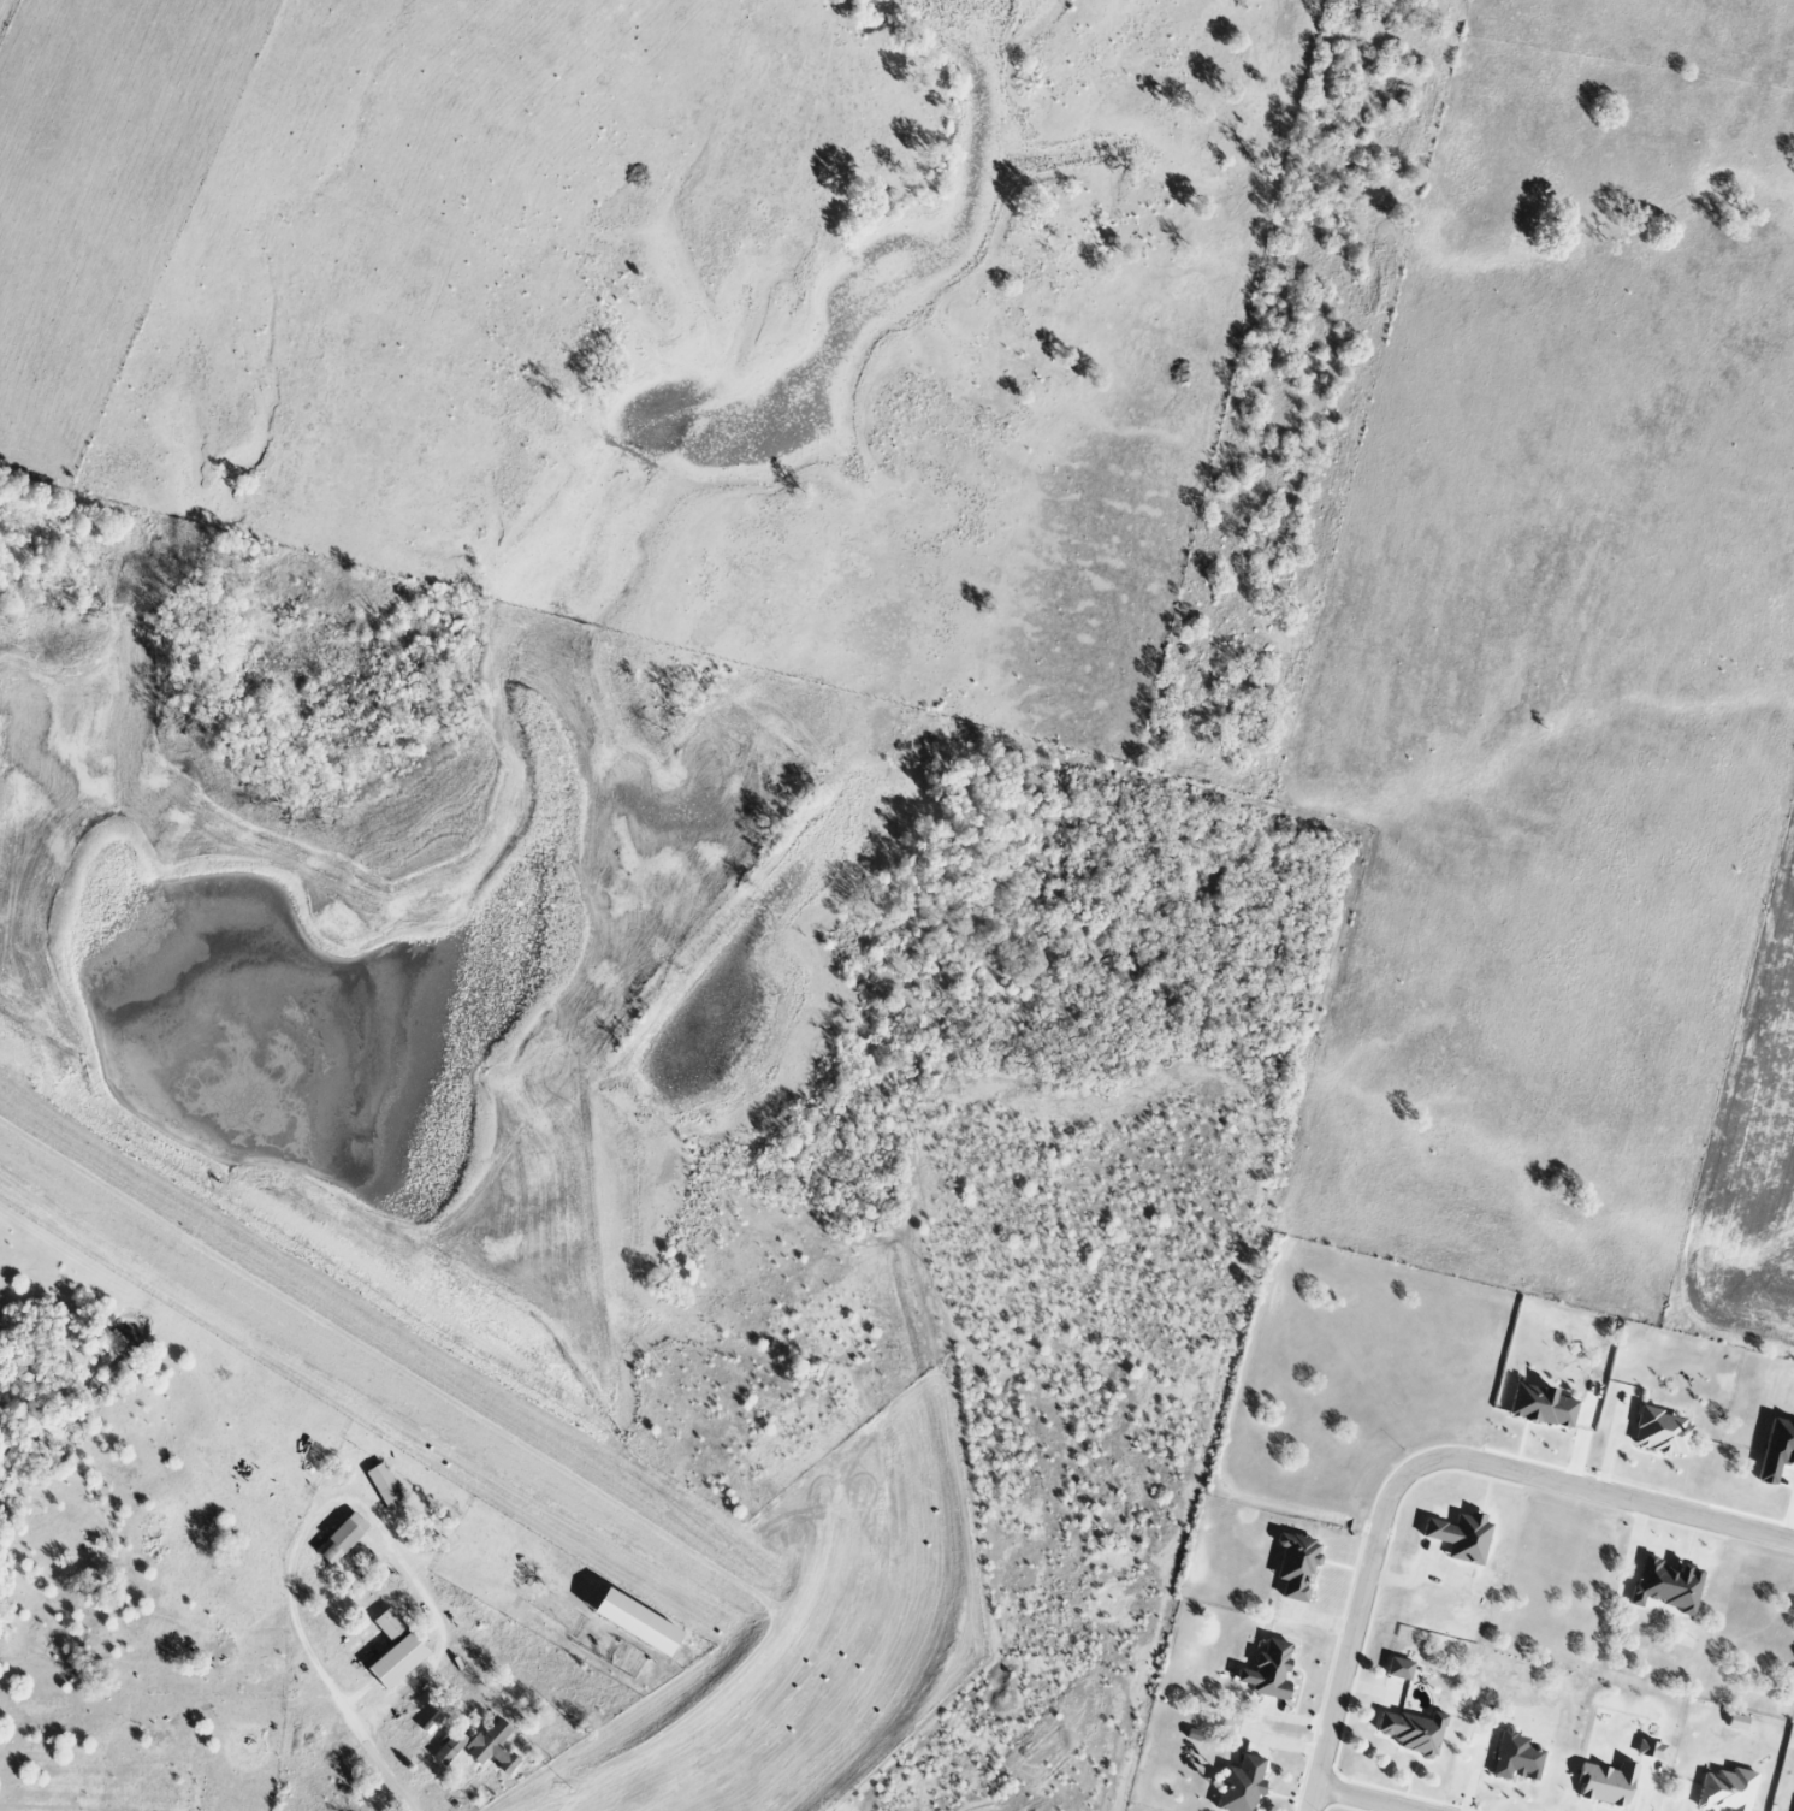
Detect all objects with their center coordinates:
dam: (353, 1339)
building: (1541, 1405)
building: (1662, 1433)
building: (1777, 1450)
building: (385, 1489)
road: (1608, 1493)
road: (380, 1517)
building: (1461, 1535)
building: (343, 1538)
building: (1666, 1585)
building: (635, 1621)
building: (389, 1624)
road: (1351, 1635)
building: (396, 1659)
building: (1399, 1668)
building: (1272, 1670)
building: (1409, 1730)
road: (368, 1744)
building: (492, 1746)
building: (451, 1748)
building: (1651, 1750)
building: (1516, 1758)
building: (1606, 1783)
building: (1243, 1786)
building: (1727, 1791)
road: (1370, 1798)

